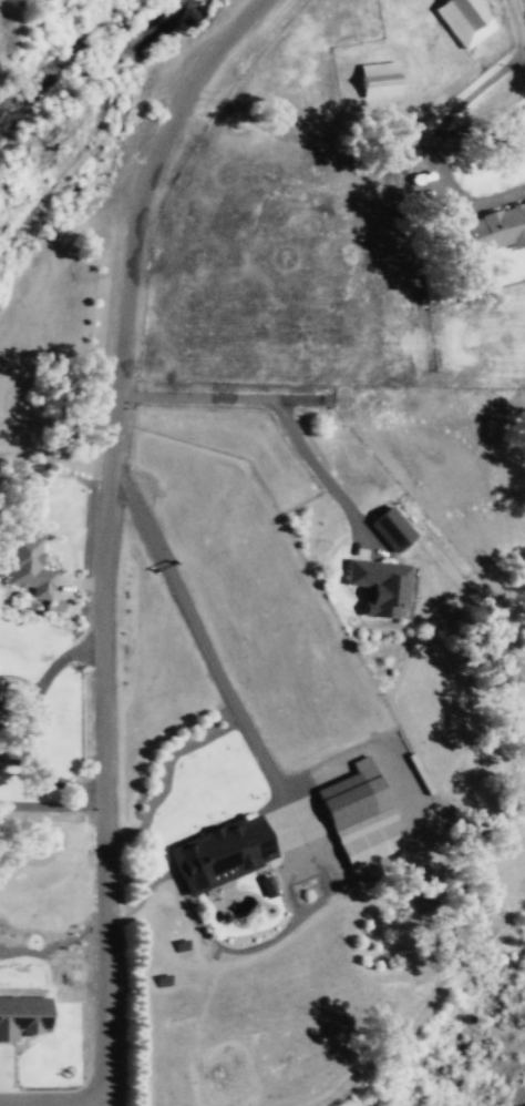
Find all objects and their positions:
building: (464, 19)
road: (515, 19)
road: (523, 44)
building: (378, 78)
road: (434, 138)
building: (501, 224)
road: (228, 397)
road: (322, 476)
road: (114, 527)
building: (391, 527)
building: (28, 565)
building: (380, 585)
road: (218, 670)
road: (39, 680)
road: (56, 780)
road: (55, 806)
building: (360, 813)
building: (220, 852)
building: (267, 885)
building: (21, 1016)
road: (93, 1103)

